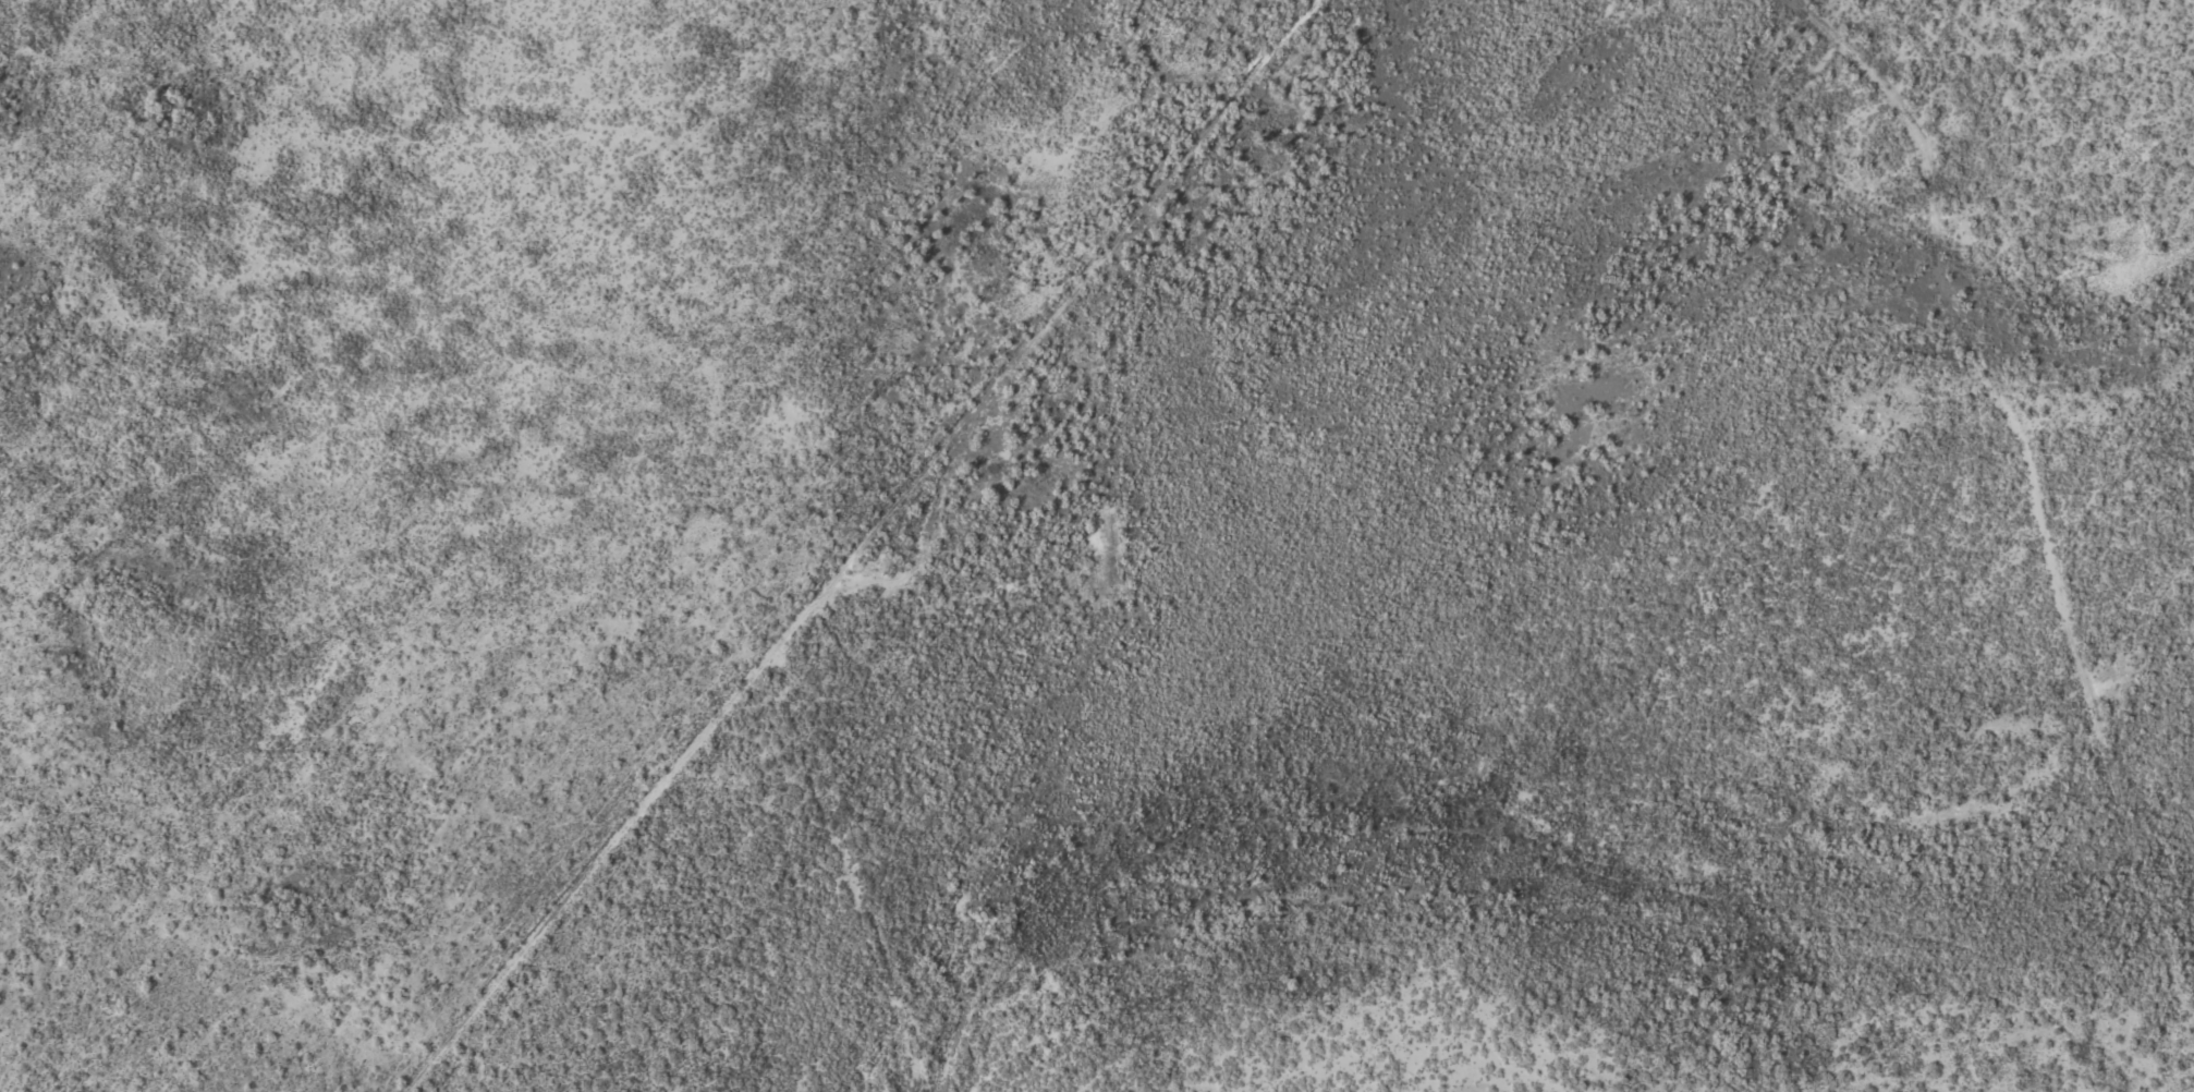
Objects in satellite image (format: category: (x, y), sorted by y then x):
road: (959, 226)
road: (2033, 482)
road: (902, 585)

